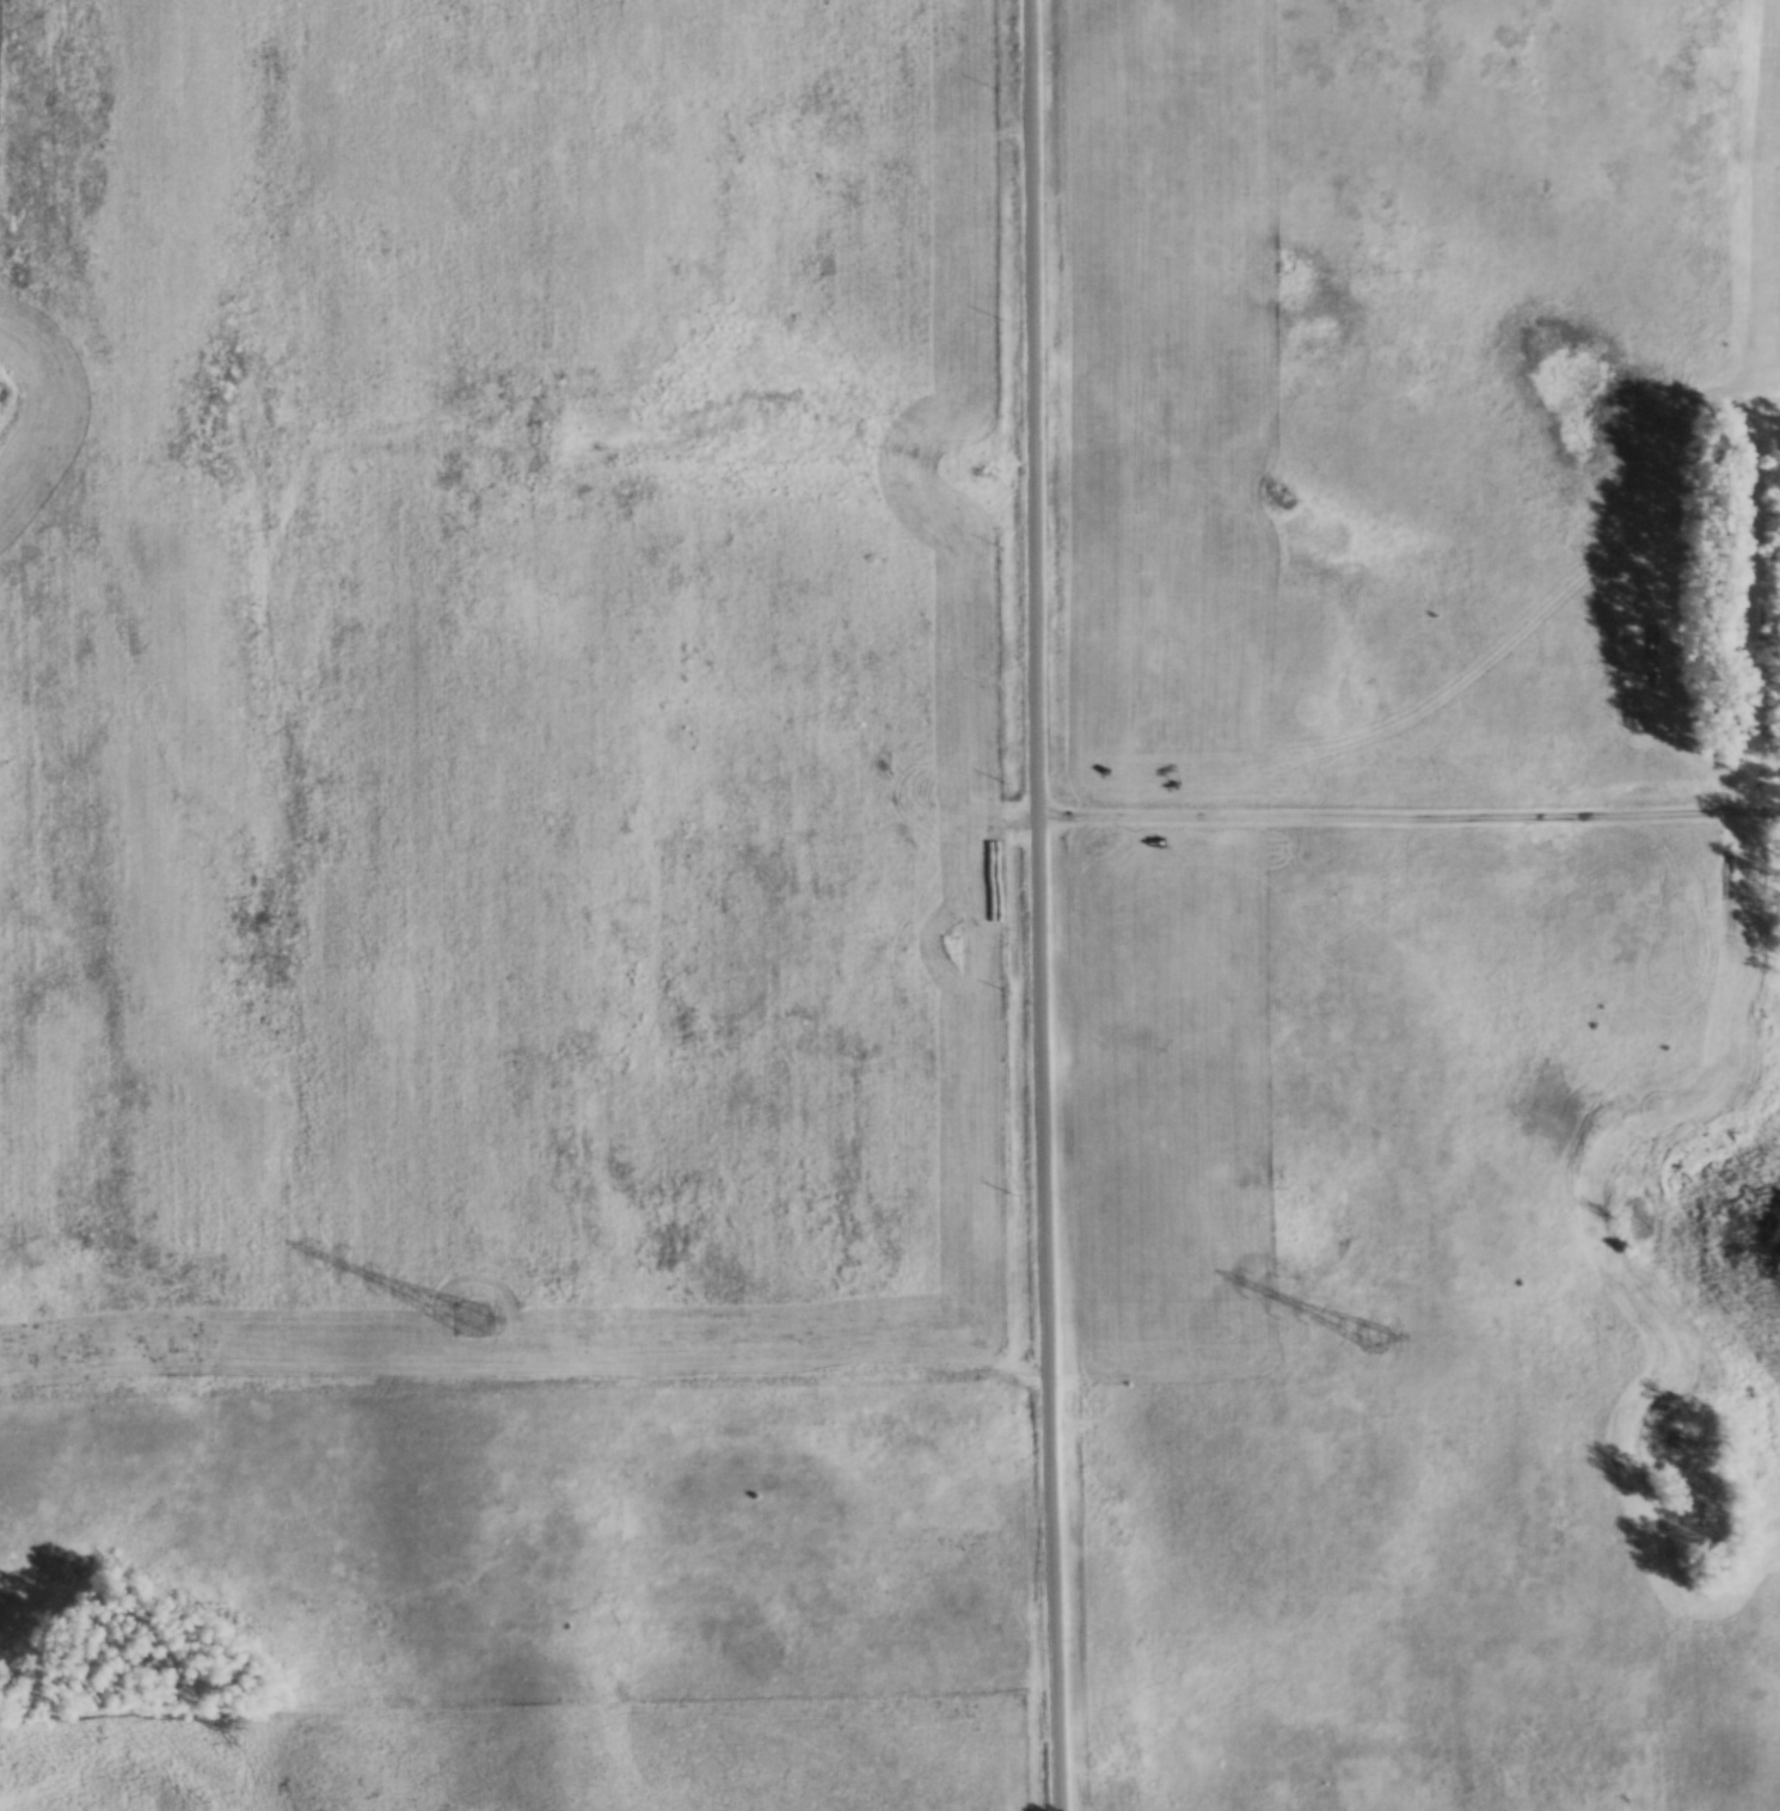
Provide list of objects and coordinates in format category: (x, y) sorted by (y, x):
road: (1410, 812)
road: (1041, 905)
power tower: (467, 1321)
power tower: (1375, 1338)

